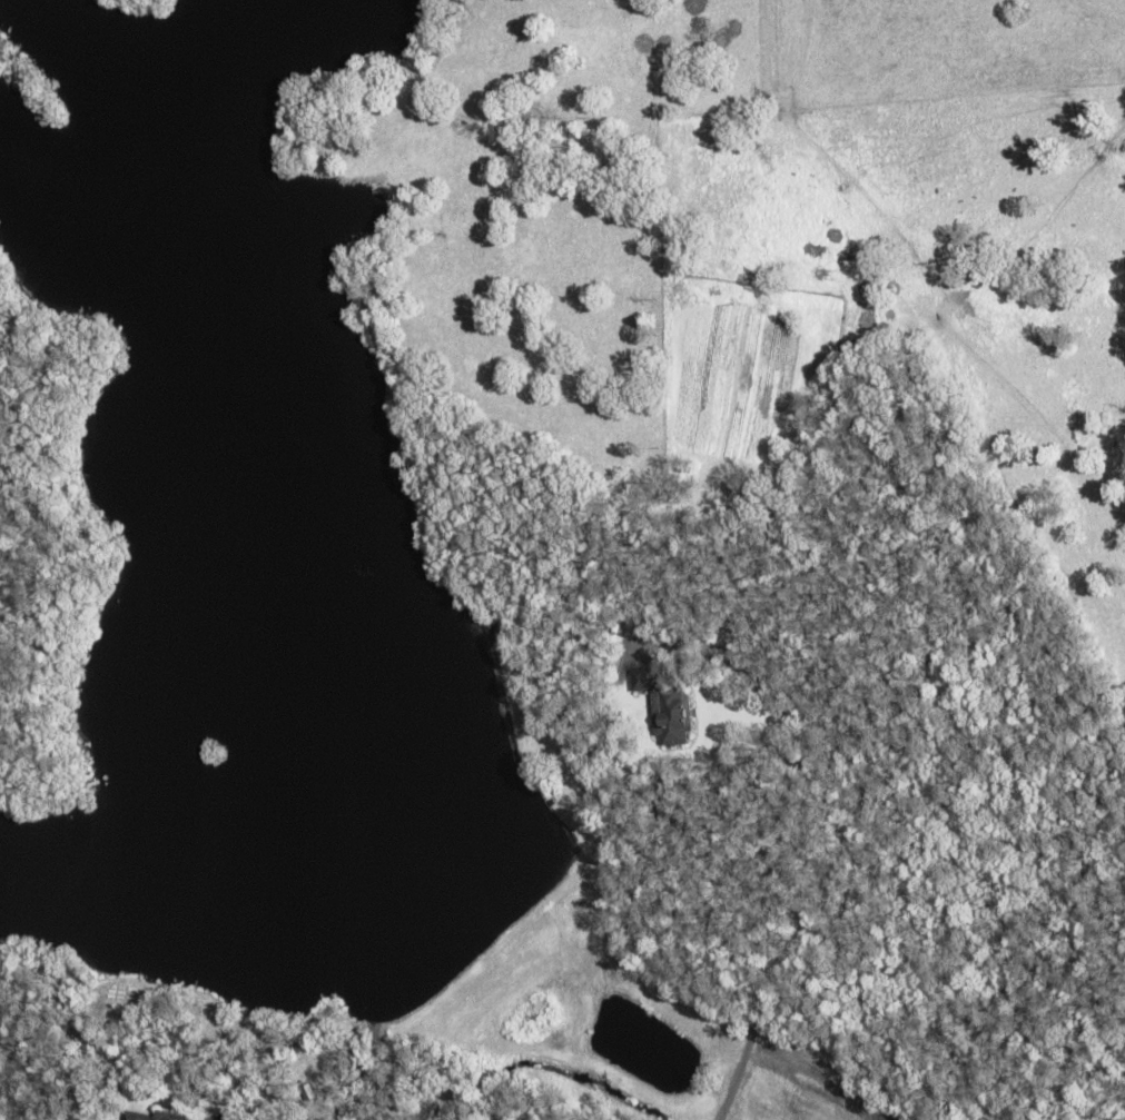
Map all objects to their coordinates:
building: (168, 1117)

